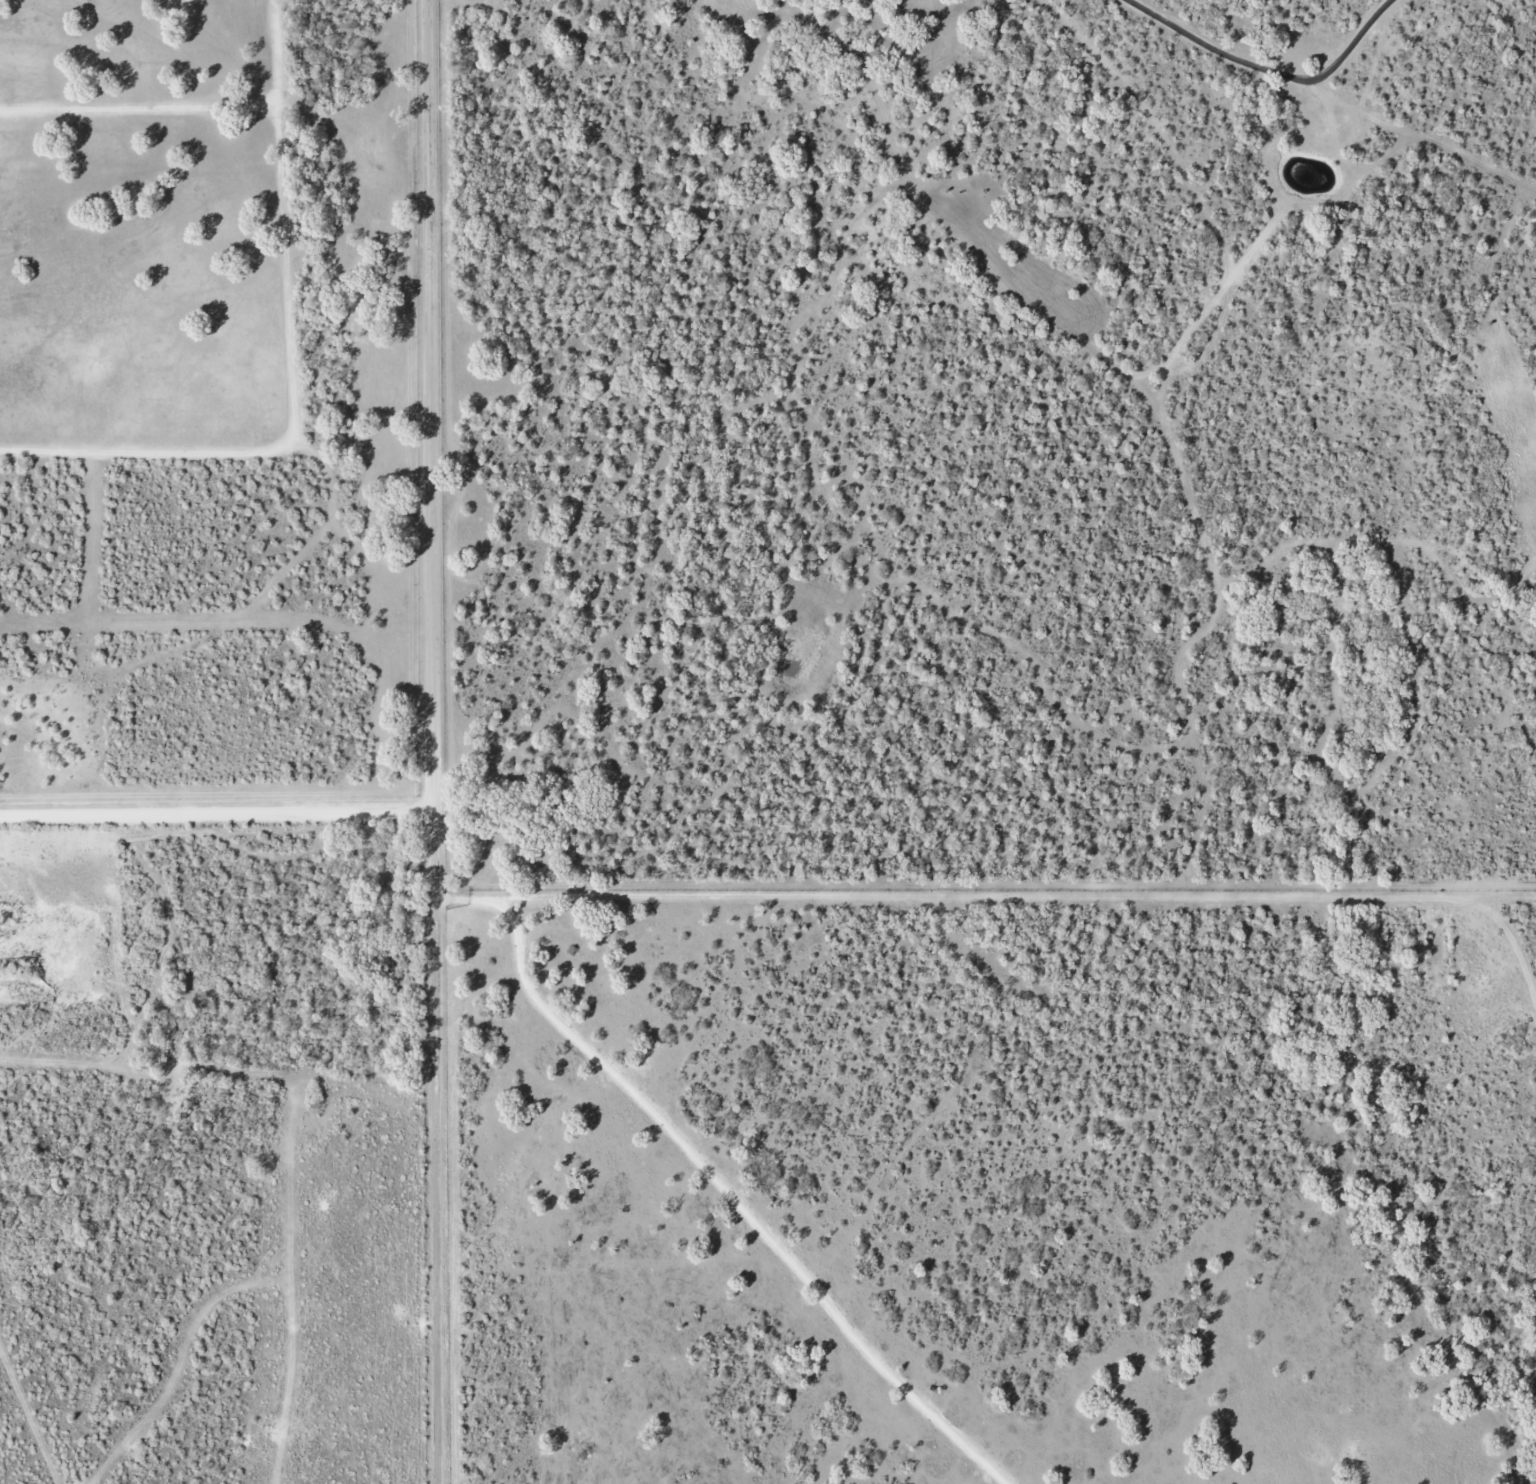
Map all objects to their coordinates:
road: (1267, 70)
road: (434, 742)
road: (217, 814)
road: (950, 896)
road: (1507, 938)
road: (735, 1206)

